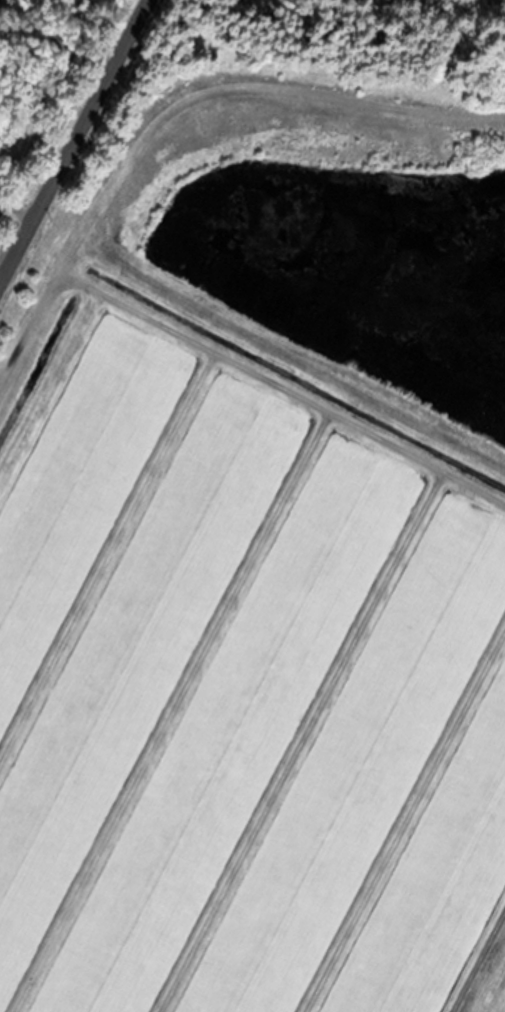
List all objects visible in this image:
road: (76, 145)
crop: (238, 669)

